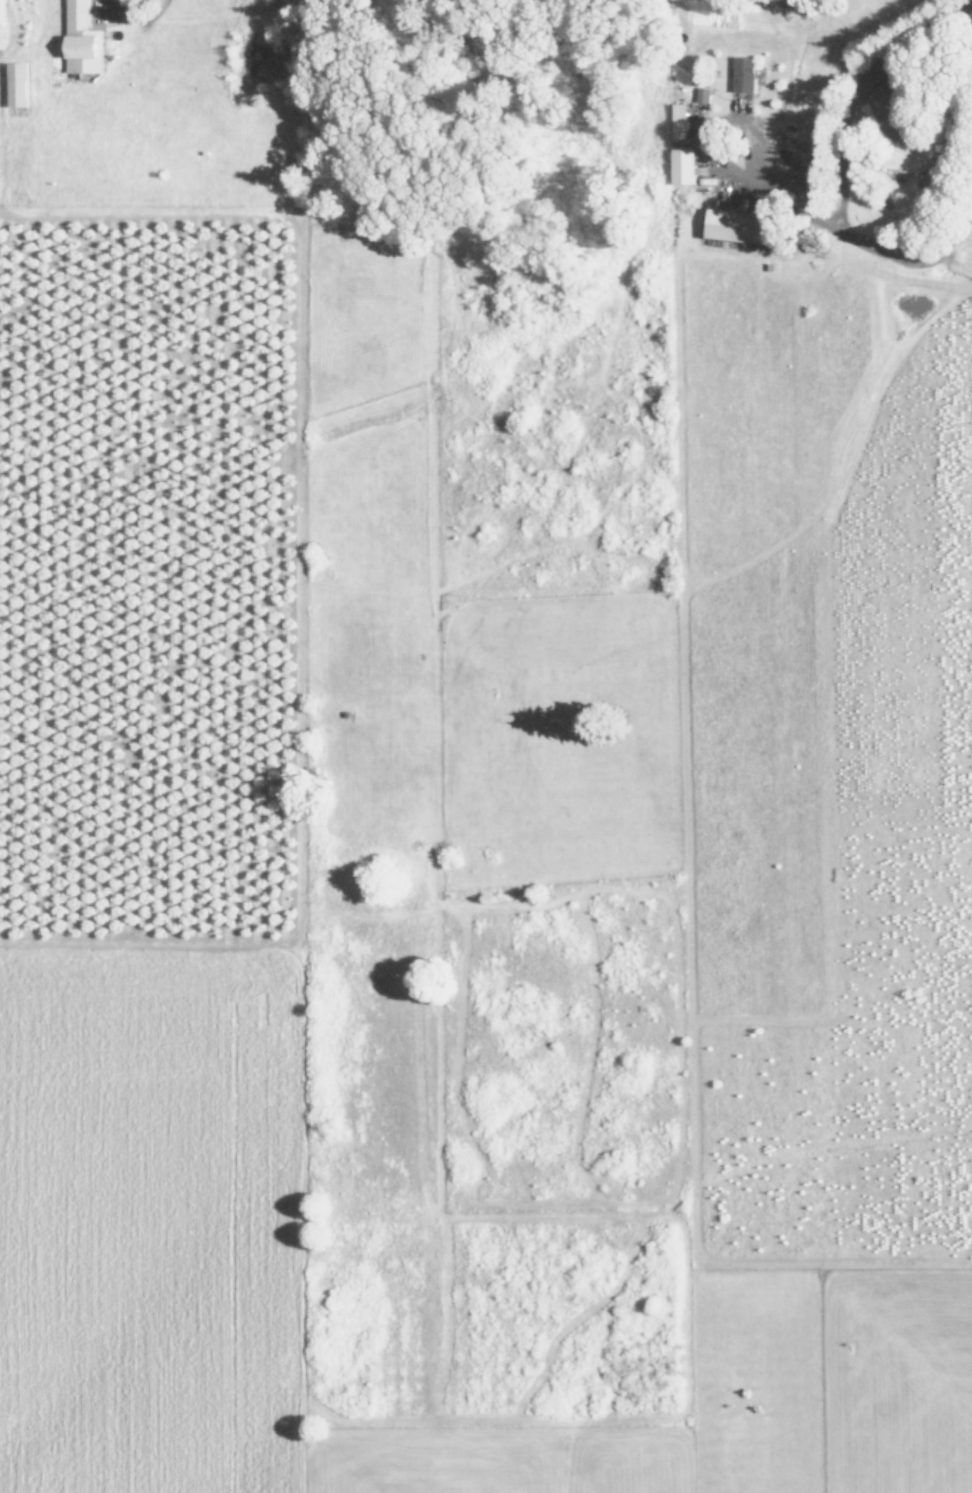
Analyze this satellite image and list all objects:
road: (133, 15)
building: (85, 39)
building: (746, 72)
building: (20, 83)
building: (682, 119)
building: (687, 165)
road: (842, 228)

